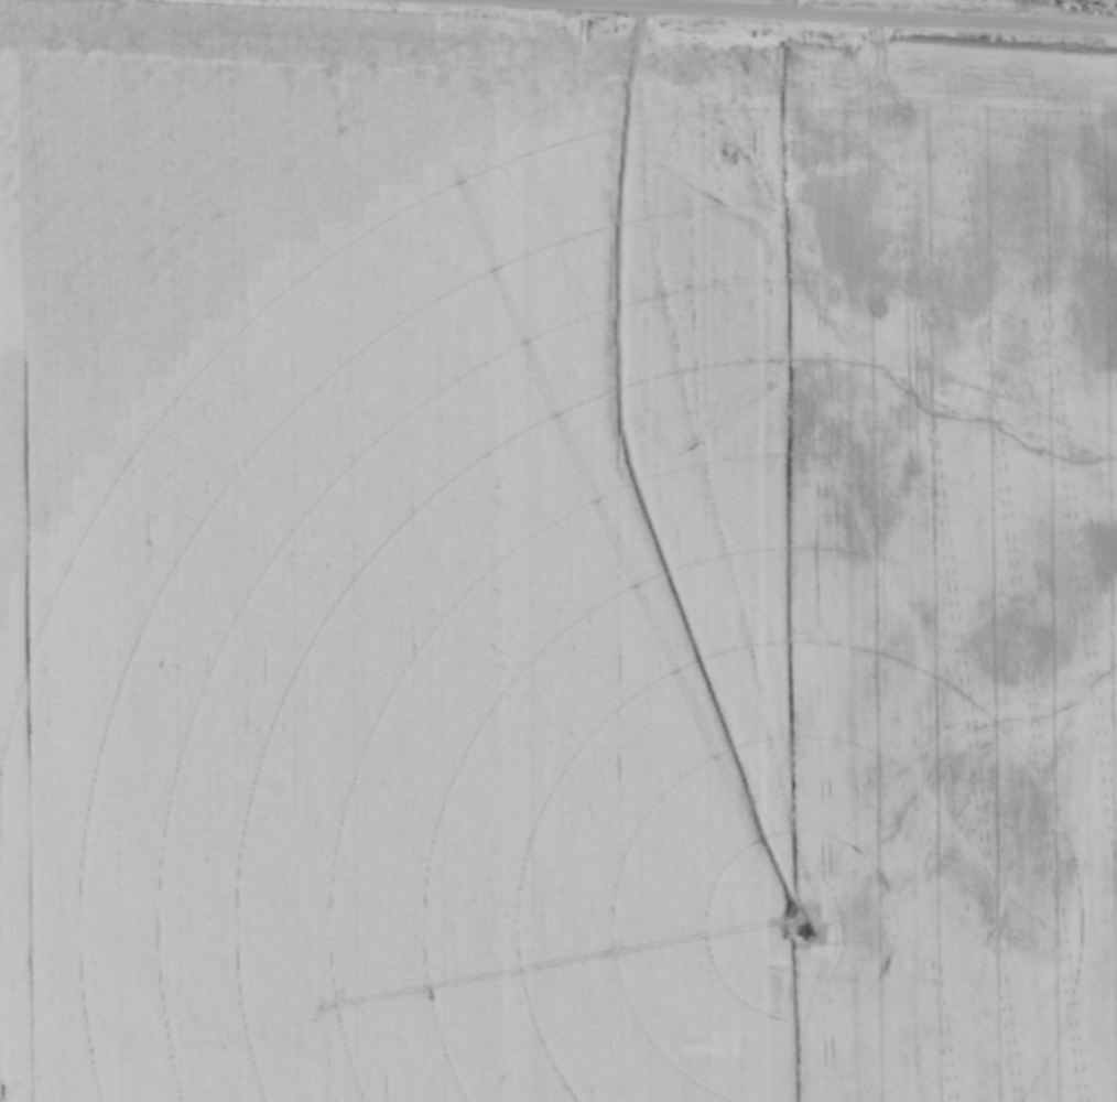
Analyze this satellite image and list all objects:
road: (654, 2)
road: (787, 6)
road: (844, 13)

